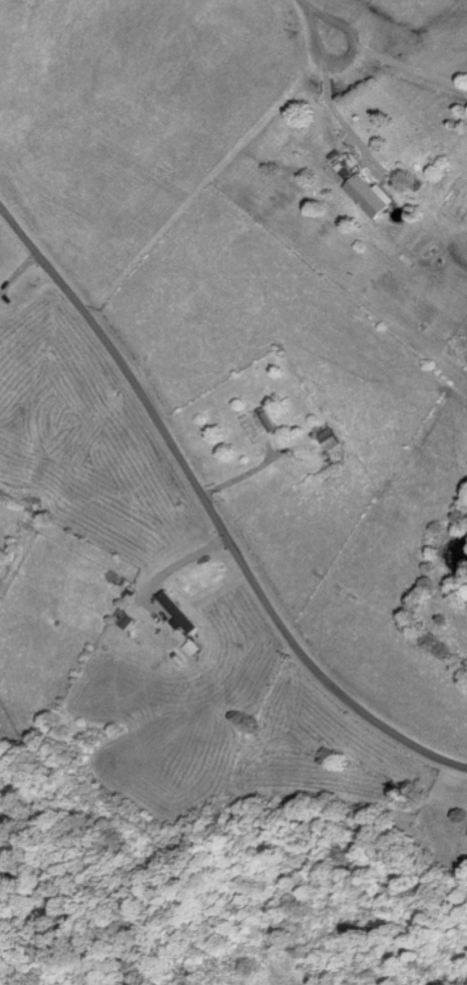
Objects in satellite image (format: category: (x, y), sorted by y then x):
road: (322, 27)
building: (371, 196)
building: (268, 422)
building: (329, 441)
road: (210, 515)
building: (178, 614)
building: (126, 623)

